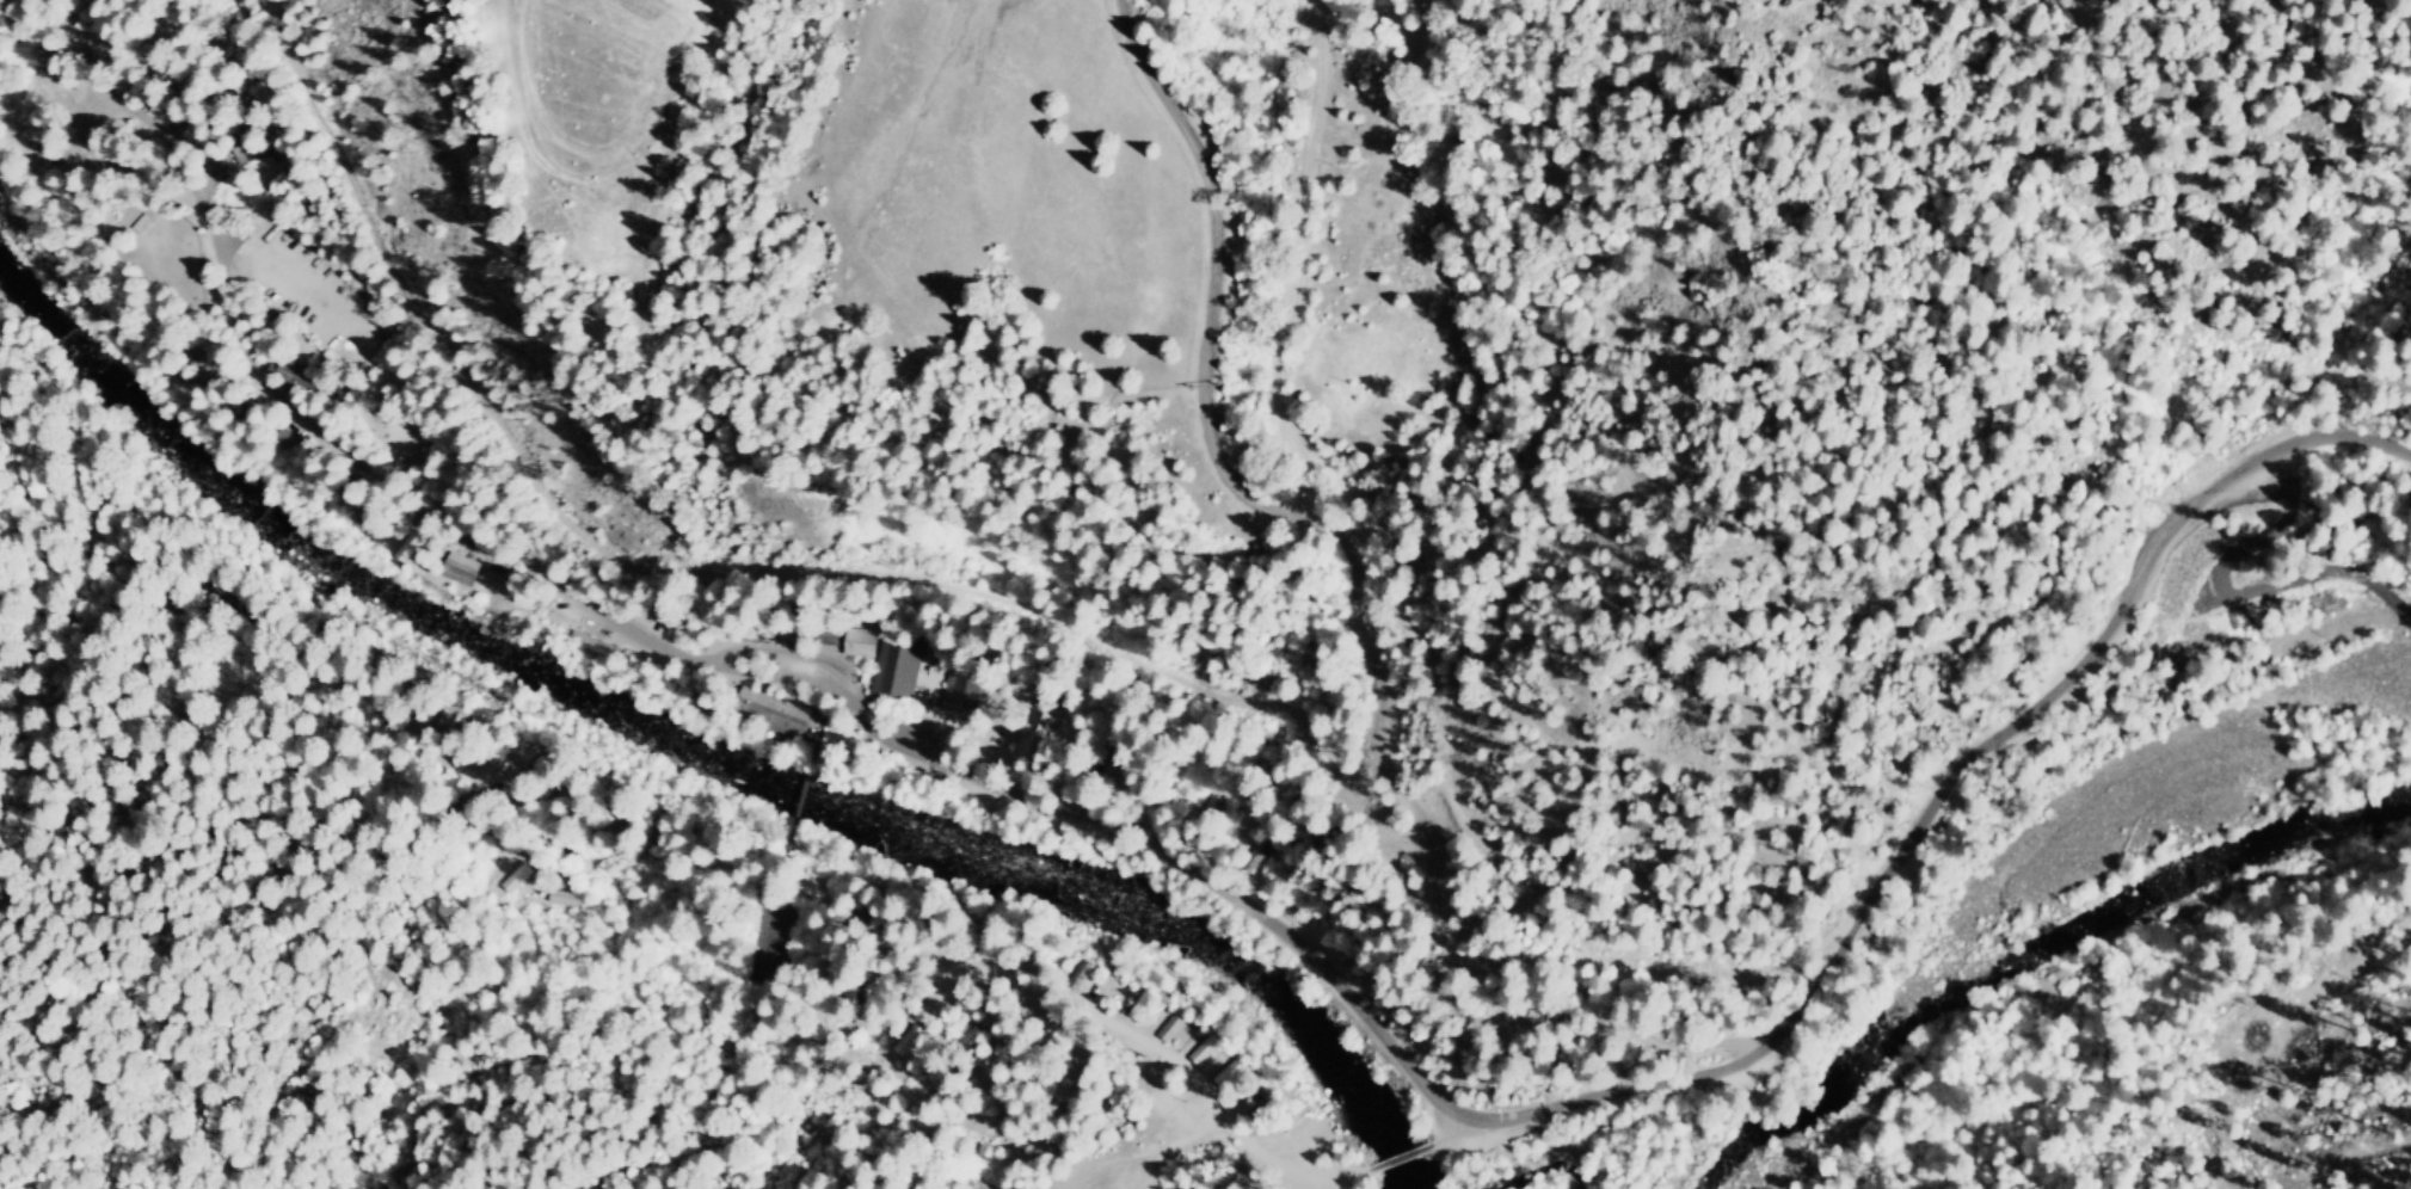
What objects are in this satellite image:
road: (1324, 18)
building: (296, 376)
road: (1363, 623)
building: (860, 641)
building: (897, 666)
building: (966, 688)
road: (818, 696)
building: (769, 711)
building: (1035, 734)
river: (699, 745)
road: (806, 789)
road: (786, 871)
road: (769, 880)
building: (562, 898)
road: (1232, 905)
river: (2055, 938)
park: (770, 944)
building: (1197, 1052)
road: (1443, 1132)
road: (1398, 1162)
road: (1312, 1183)

